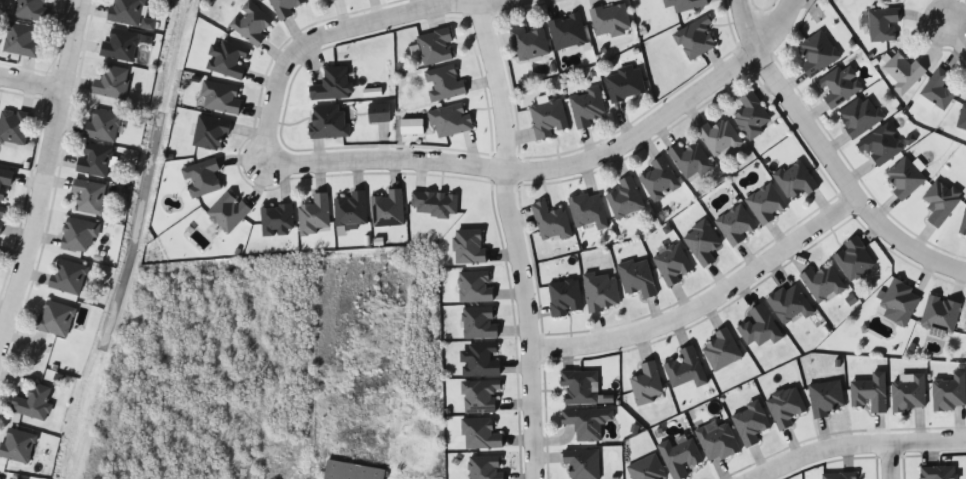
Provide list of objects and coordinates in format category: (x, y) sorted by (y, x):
building: (330, 0)
road: (471, 4)
building: (684, 4)
building: (284, 7)
building: (30, 10)
building: (129, 13)
building: (610, 20)
building: (250, 23)
building: (883, 24)
road: (956, 30)
building: (566, 32)
building: (694, 38)
building: (20, 40)
building: (528, 43)
building: (119, 45)
building: (434, 47)
building: (817, 53)
building: (226, 59)
building: (902, 73)
road: (30, 81)
building: (110, 82)
building: (332, 84)
building: (443, 84)
building: (624, 84)
building: (838, 86)
building: (938, 90)
building: (219, 98)
building: (586, 107)
building: (378, 113)
building: (751, 116)
building: (859, 116)
building: (962, 118)
building: (547, 119)
building: (449, 121)
building: (327, 122)
building: (101, 126)
building: (13, 127)
building: (209, 132)
building: (719, 138)
building: (881, 146)
building: (93, 159)
building: (689, 160)
road: (827, 160)
road: (421, 165)
road: (42, 168)
building: (201, 177)
building: (659, 179)
building: (794, 180)
building: (4, 184)
building: (88, 196)
building: (624, 198)
building: (940, 202)
building: (434, 203)
building: (766, 204)
building: (350, 209)
building: (387, 209)
building: (587, 210)
building: (227, 212)
building: (314, 214)
building: (2, 215)
building: (276, 219)
building: (550, 222)
building: (963, 222)
building: (735, 224)
building: (78, 235)
road: (509, 241)
building: (701, 242)
building: (468, 247)
building: (853, 259)
building: (672, 265)
building: (68, 277)
building: (637, 278)
building: (822, 284)
building: (474, 287)
building: (600, 291)
building: (564, 297)
building: (899, 303)
building: (789, 304)
road: (704, 307)
building: (940, 314)
building: (54, 319)
building: (479, 323)
building: (759, 329)
building: (721, 350)
building: (479, 360)
building: (685, 368)
building: (647, 383)
building: (579, 387)
building: (949, 392)
building: (869, 393)
building: (908, 394)
building: (478, 396)
building: (825, 398)
building: (32, 404)
building: (785, 407)
building: (584, 423)
building: (749, 423)
building: (479, 434)
building: (717, 442)
building: (16, 445)
road: (864, 446)
building: (679, 457)
road: (893, 462)
building: (581, 463)
building: (353, 467)
building: (484, 467)
building: (646, 468)
building: (937, 472)
building: (840, 476)

